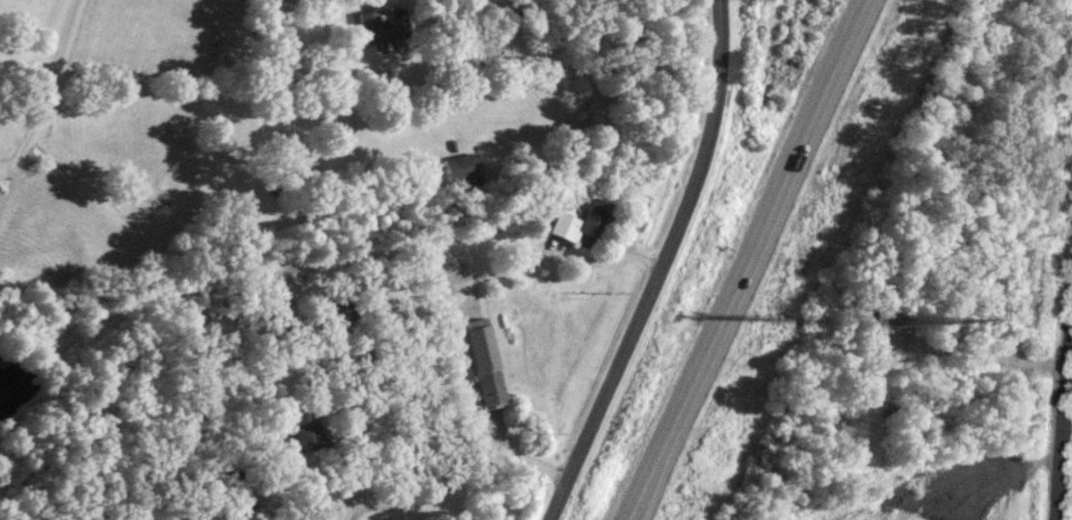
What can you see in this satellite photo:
building: (384, 26)
road: (43, 104)
building: (464, 169)
building: (584, 222)
road: (670, 245)
road: (388, 247)
road: (560, 256)
building: (1010, 258)
road: (751, 259)
building: (338, 315)
building: (287, 323)
road: (989, 352)
building: (486, 362)
road: (1060, 403)
road: (470, 408)
building: (305, 427)
road: (439, 495)
road: (560, 500)
building: (321, 502)

